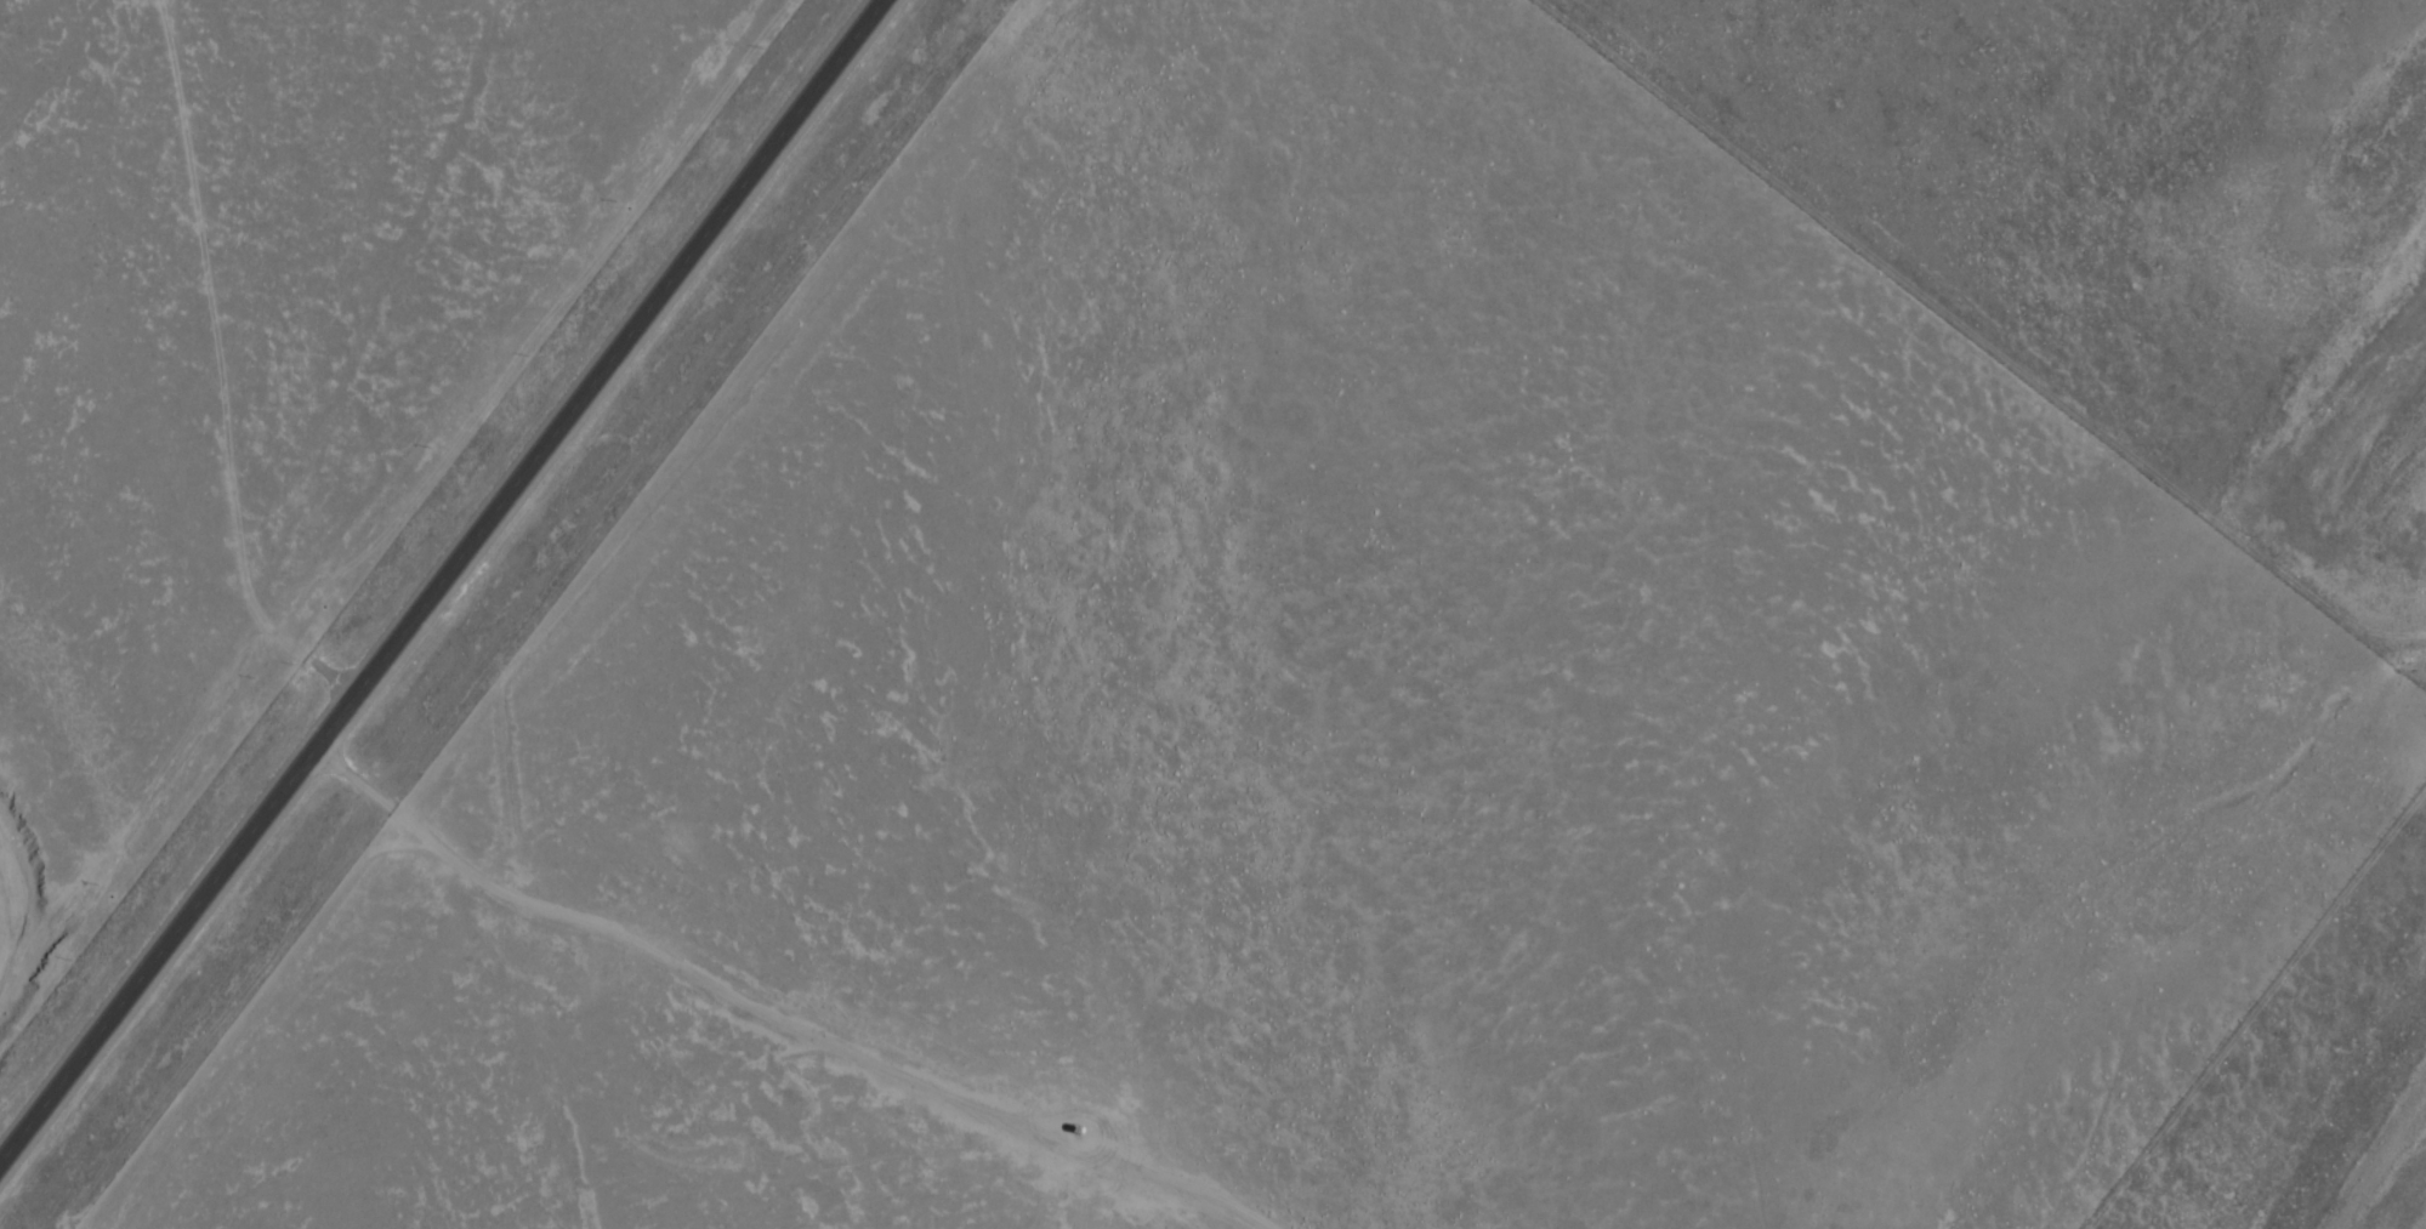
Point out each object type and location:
road: (78, 86)
airport: (2126, 232)
road: (1981, 343)
road: (441, 581)
road: (783, 1007)
road: (2256, 1009)
airport: (2311, 1079)

